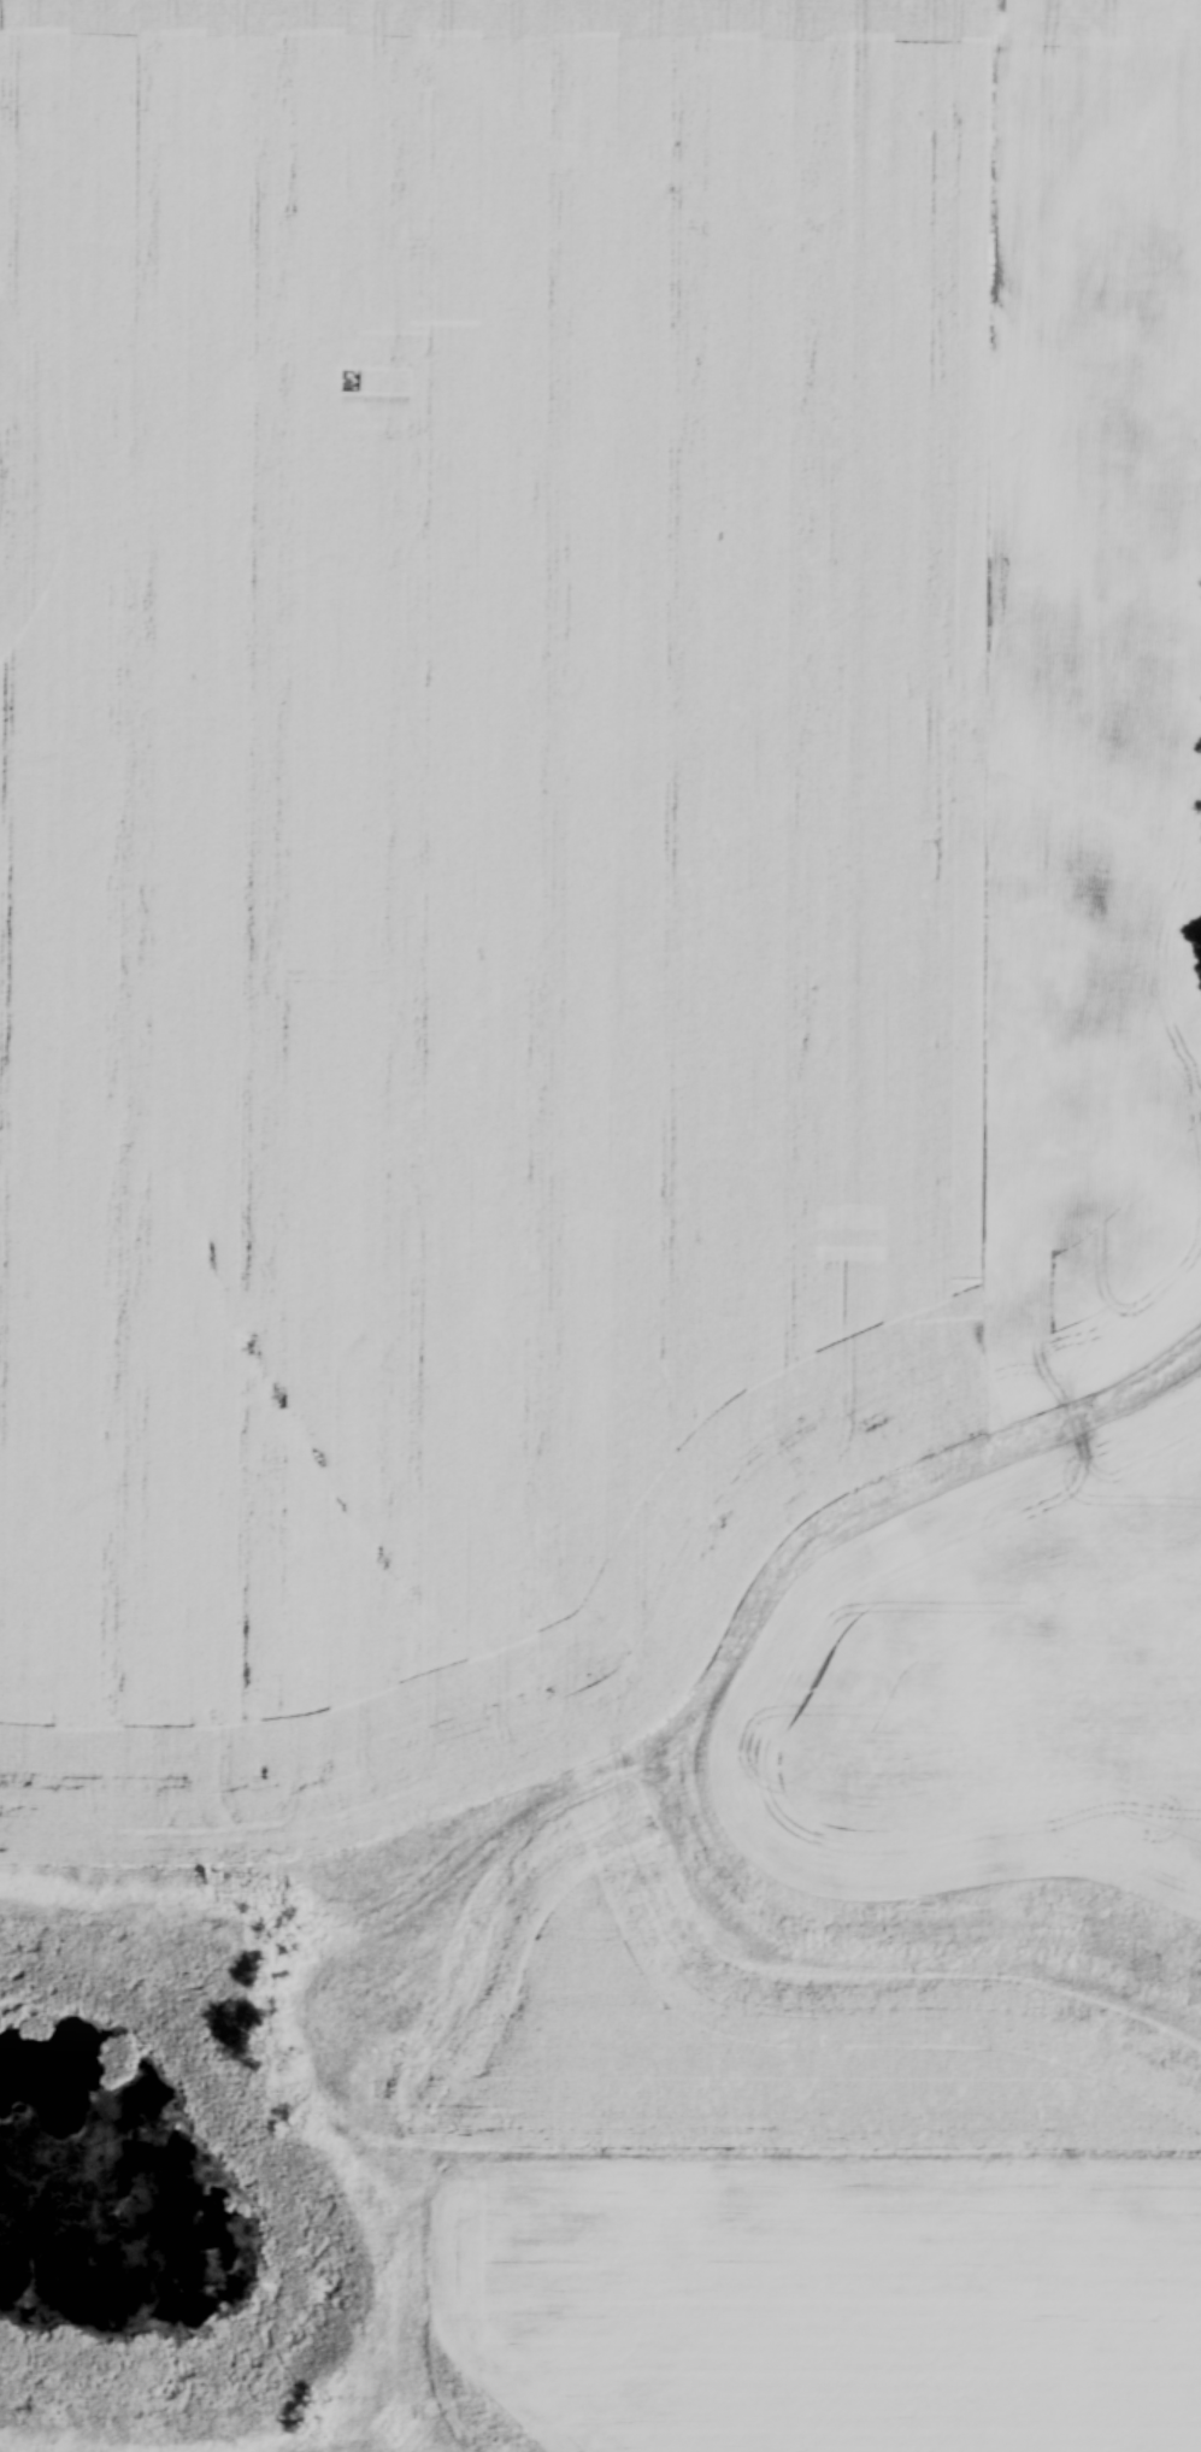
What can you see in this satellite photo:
river: (40, 2129)
river: (204, 2223)

